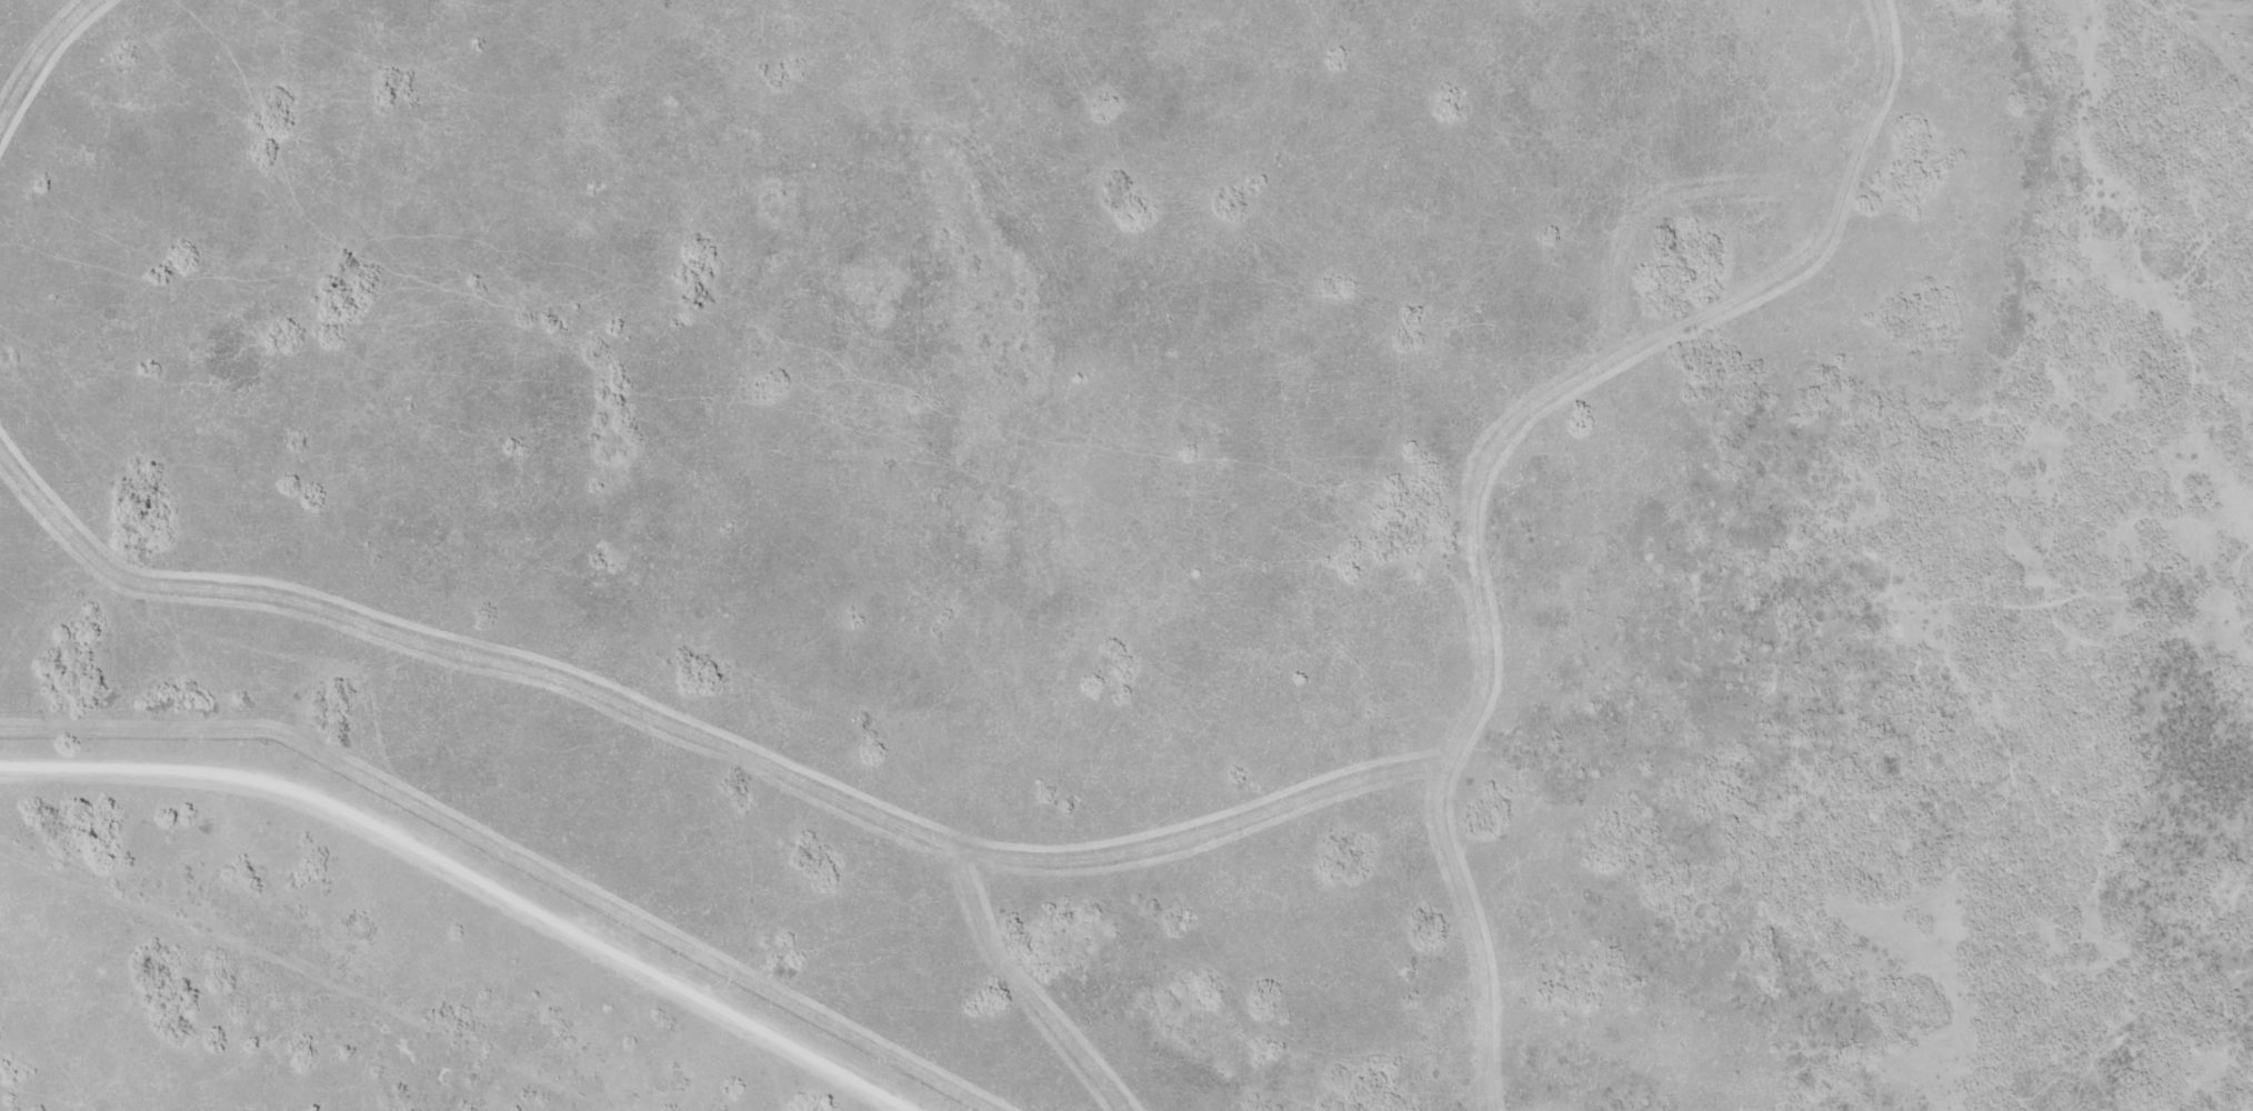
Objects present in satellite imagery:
road: (444, 889)

